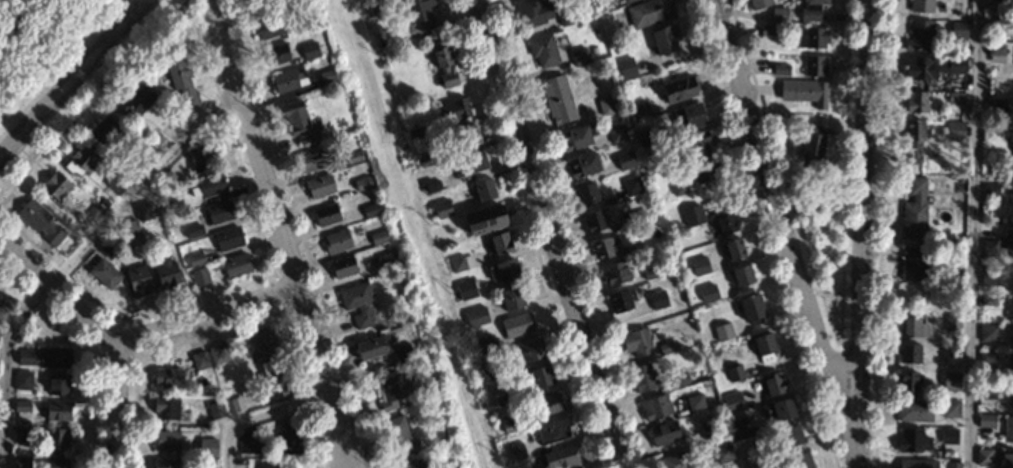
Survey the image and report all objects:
building: (996, 0)
building: (626, 1)
building: (375, 2)
building: (759, 3)
building: (921, 5)
building: (811, 10)
building: (420, 12)
building: (532, 12)
building: (650, 12)
building: (779, 14)
building: (566, 16)
building: (996, 20)
building: (302, 26)
building: (268, 27)
building: (958, 29)
building: (768, 30)
building: (919, 36)
building: (810, 37)
building: (663, 41)
building: (543, 50)
building: (310, 51)
building: (996, 52)
building: (277, 54)
building: (579, 57)
building: (445, 65)
building: (815, 65)
building: (930, 67)
building: (626, 68)
building: (781, 69)
building: (327, 76)
road: (72, 77)
building: (181, 78)
building: (287, 79)
building: (340, 86)
building: (679, 90)
building: (804, 91)
building: (955, 97)
building: (558, 99)
building: (136, 101)
building: (916, 101)
building: (608, 106)
building: (999, 106)
building: (454, 110)
building: (642, 111)
building: (689, 116)
building: (297, 122)
building: (951, 129)
building: (104, 130)
building: (915, 130)
building: (417, 132)
building: (619, 133)
building: (469, 135)
building: (577, 137)
building: (647, 137)
building: (159, 139)
building: (1010, 139)
building: (699, 143)
building: (813, 148)
building: (149, 153)
building: (913, 154)
building: (202, 156)
building: (354, 156)
building: (425, 159)
building: (82, 160)
building: (625, 160)
building: (310, 161)
building: (476, 162)
building: (584, 165)
building: (662, 165)
building: (704, 170)
building: (166, 177)
building: (117, 182)
building: (364, 183)
building: (212, 184)
building: (319, 186)
building: (433, 186)
building: (632, 186)
building: (56, 187)
building: (990, 187)
building: (485, 189)
building: (680, 189)
building: (587, 193)
building: (105, 202)
building: (914, 208)
building: (443, 209)
building: (370, 210)
building: (96, 211)
building: (144, 211)
building: (220, 211)
building: (326, 214)
building: (642, 215)
building: (693, 215)
building: (162, 216)
building: (483, 220)
building: (595, 220)
building: (40, 221)
road: (784, 222)
building: (726, 223)
building: (74, 227)
building: (129, 229)
building: (194, 230)
road: (280, 233)
road: (549, 234)
road: (860, 234)
road: (972, 234)
building: (378, 237)
building: (228, 238)
building: (337, 240)
building: (1008, 240)
building: (501, 243)
building: (605, 246)
building: (989, 247)
building: (634, 249)
building: (735, 249)
building: (107, 250)
road: (74, 259)
building: (196, 259)
building: (387, 261)
building: (458, 263)
building: (913, 264)
building: (236, 265)
building: (343, 266)
building: (699, 266)
building: (504, 270)
building: (650, 272)
building: (104, 273)
building: (167, 273)
building: (616, 273)
building: (742, 275)
building: (200, 276)
building: (989, 276)
building: (139, 280)
building: (466, 289)
building: (708, 292)
building: (718, 294)
building: (512, 298)
building: (658, 299)
building: (7, 300)
building: (622, 300)
building: (988, 301)
building: (357, 303)
building: (751, 308)
building: (2, 314)
building: (476, 317)
building: (952, 323)
building: (517, 324)
building: (913, 326)
building: (723, 332)
building: (988, 333)
building: (1012, 336)
building: (956, 338)
building: (17, 339)
building: (637, 342)
building: (262, 343)
building: (1011, 343)
road: (132, 344)
building: (484, 345)
building: (764, 347)
building: (370, 348)
building: (667, 348)
building: (952, 349)
building: (532, 350)
power tower: (445, 351)
building: (910, 352)
building: (218, 353)
building: (404, 354)
building: (46, 357)
building: (987, 357)
building: (200, 359)
building: (951, 359)
building: (1010, 364)
building: (493, 372)
building: (735, 372)
building: (541, 376)
building: (951, 376)
building: (168, 377)
building: (643, 377)
building: (23, 379)
building: (680, 379)
building: (908, 381)
building: (60, 383)
building: (774, 383)
building: (278, 385)
building: (394, 390)
building: (986, 390)
building: (502, 399)
building: (733, 401)
building: (695, 402)
building: (549, 403)
building: (235, 404)
building: (22, 405)
building: (166, 407)
building: (656, 407)
road: (116, 408)
building: (216, 409)
building: (780, 409)
building: (950, 409)
building: (58, 410)
building: (915, 410)
road: (262, 417)
building: (986, 420)
building: (510, 425)
building: (708, 428)
building: (1008, 428)
building: (737, 429)
building: (552, 431)
building: (665, 433)
building: (21, 434)
building: (949, 435)
building: (397, 436)
building: (791, 436)
building: (208, 437)
building: (290, 437)
building: (56, 438)
building: (166, 439)
building: (911, 440)
building: (251, 444)
building: (516, 452)
building: (214, 453)
building: (723, 453)
building: (560, 456)
building: (758, 456)
building: (983, 456)
road: (339, 459)
building: (679, 459)
building: (1006, 459)
building: (22, 461)
building: (799, 461)
building: (57, 462)
building: (165, 463)
building: (206, 463)
building: (917, 463)
building: (408, 464)
building: (953, 464)
building: (272, 465)

